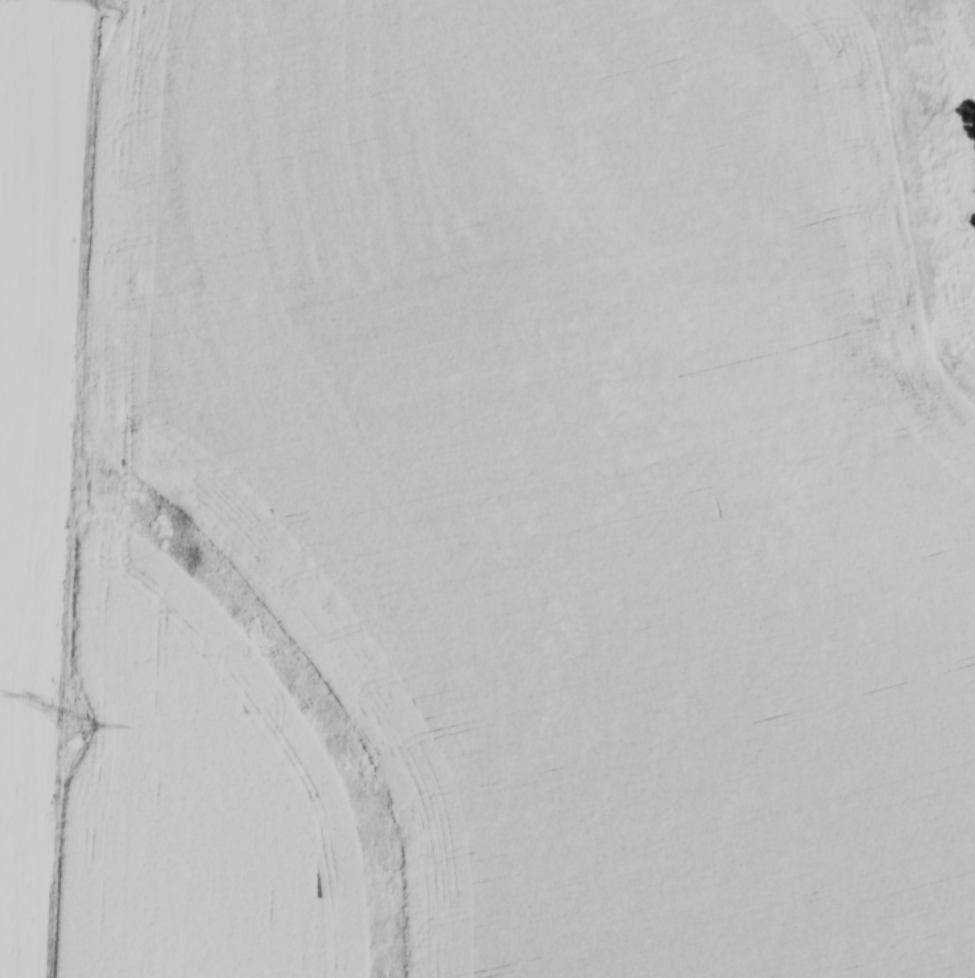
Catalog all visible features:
power tower: (109, 4)
power tower: (75, 726)

